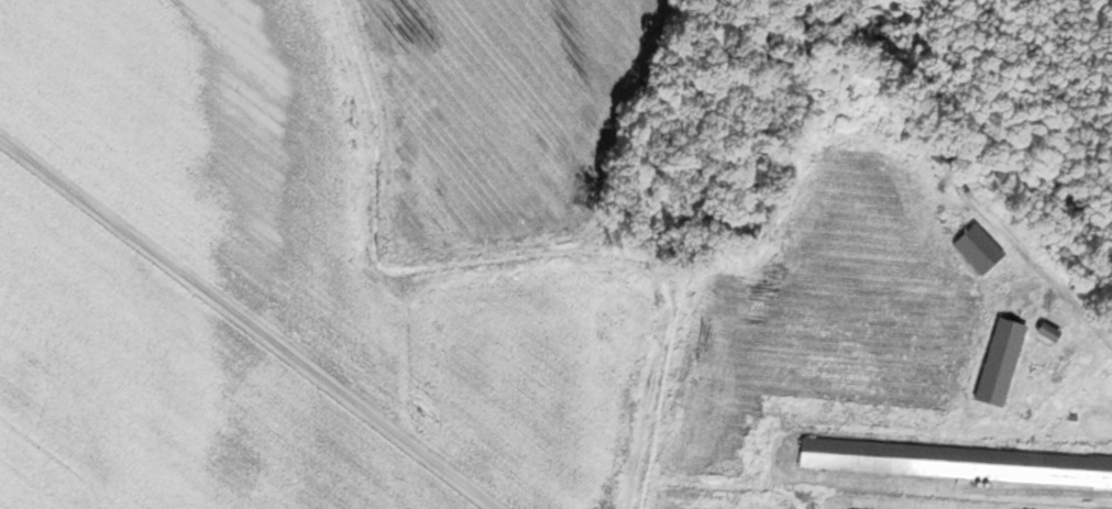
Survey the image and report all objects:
building: (978, 251)
road: (1050, 277)
building: (1042, 334)
building: (999, 364)
building: (956, 464)

